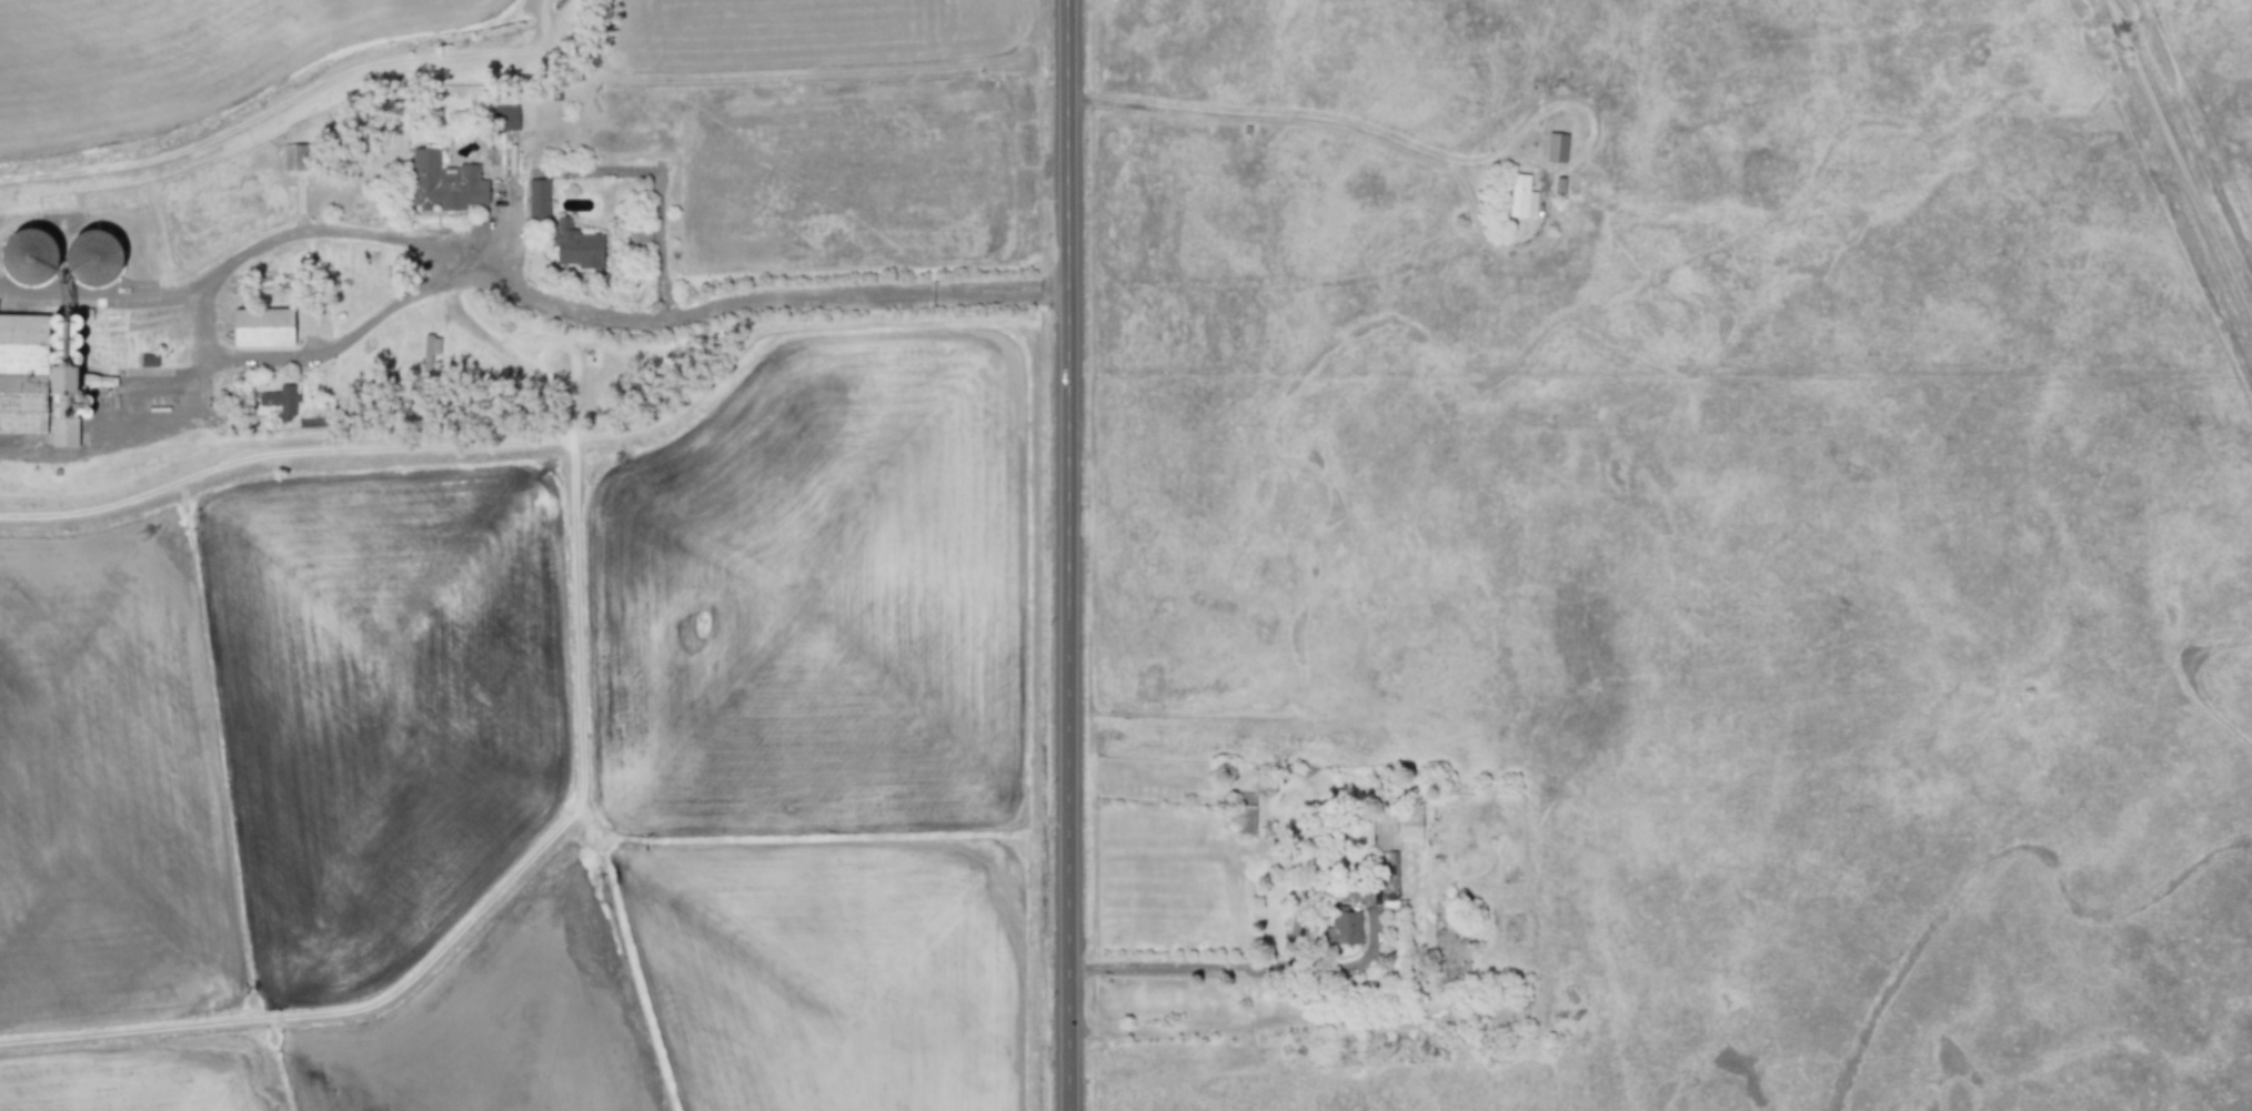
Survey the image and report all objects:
building: (505, 118)
road: (1401, 147)
building: (1556, 148)
building: (294, 158)
road: (607, 170)
building: (444, 182)
building: (1520, 196)
building: (537, 200)
building: (574, 245)
building: (29, 256)
road: (449, 257)
building: (262, 327)
building: (425, 358)
building: (40, 378)
building: (278, 396)
road: (1066, 555)
crop: (577, 626)
building: (1243, 810)
building: (1409, 827)
building: (1389, 877)
building: (1341, 928)
road: (1251, 970)

